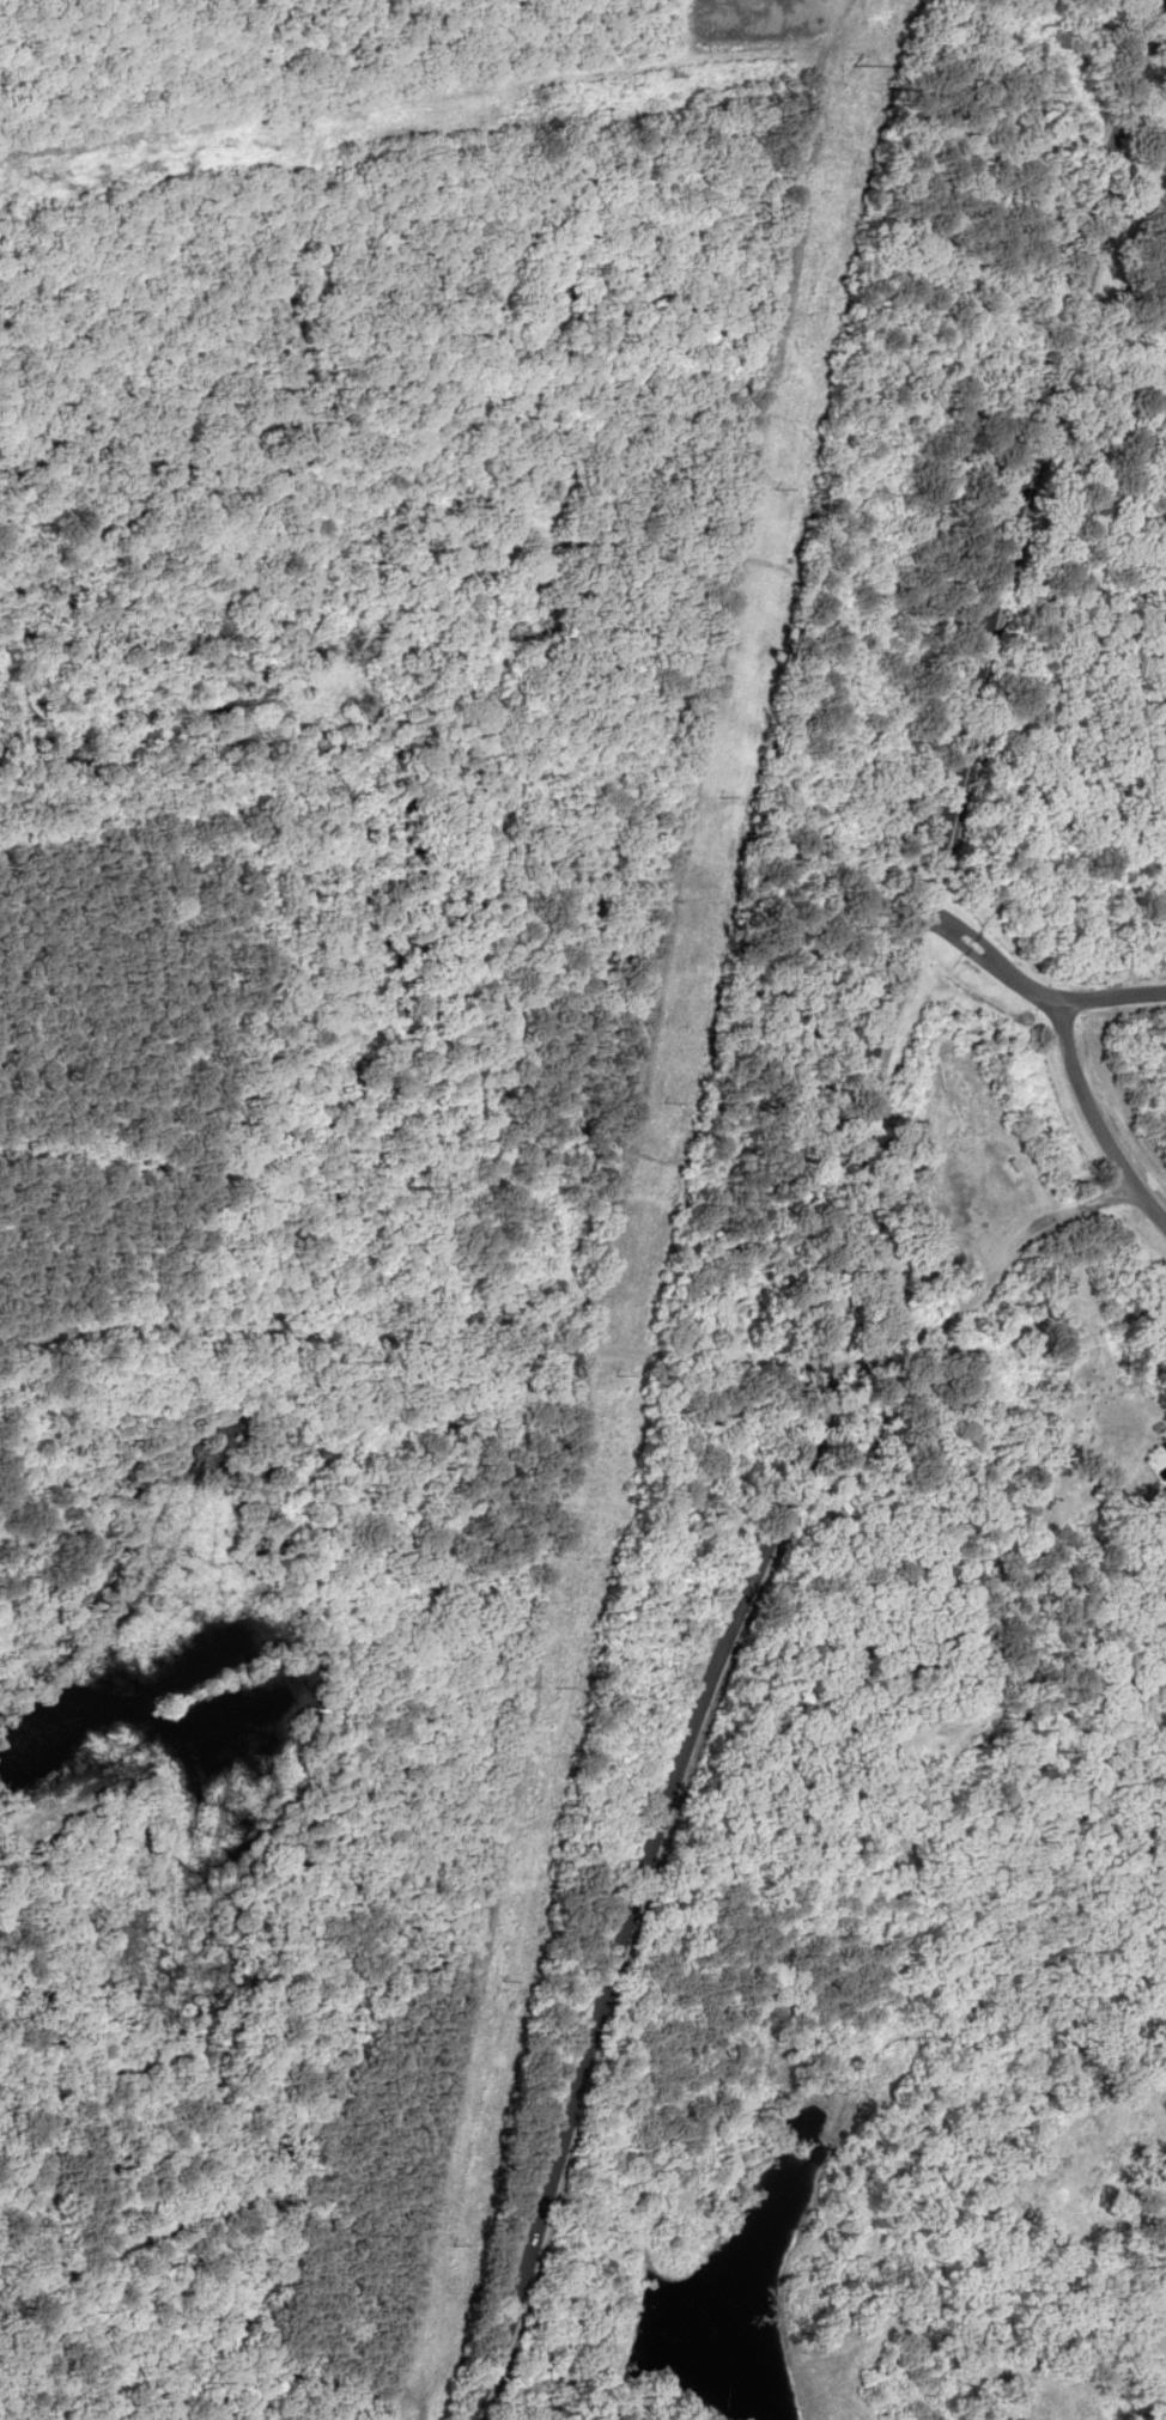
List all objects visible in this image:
road: (1034, 984)
road: (1100, 1113)
road: (856, 1221)
road: (419, 1345)

